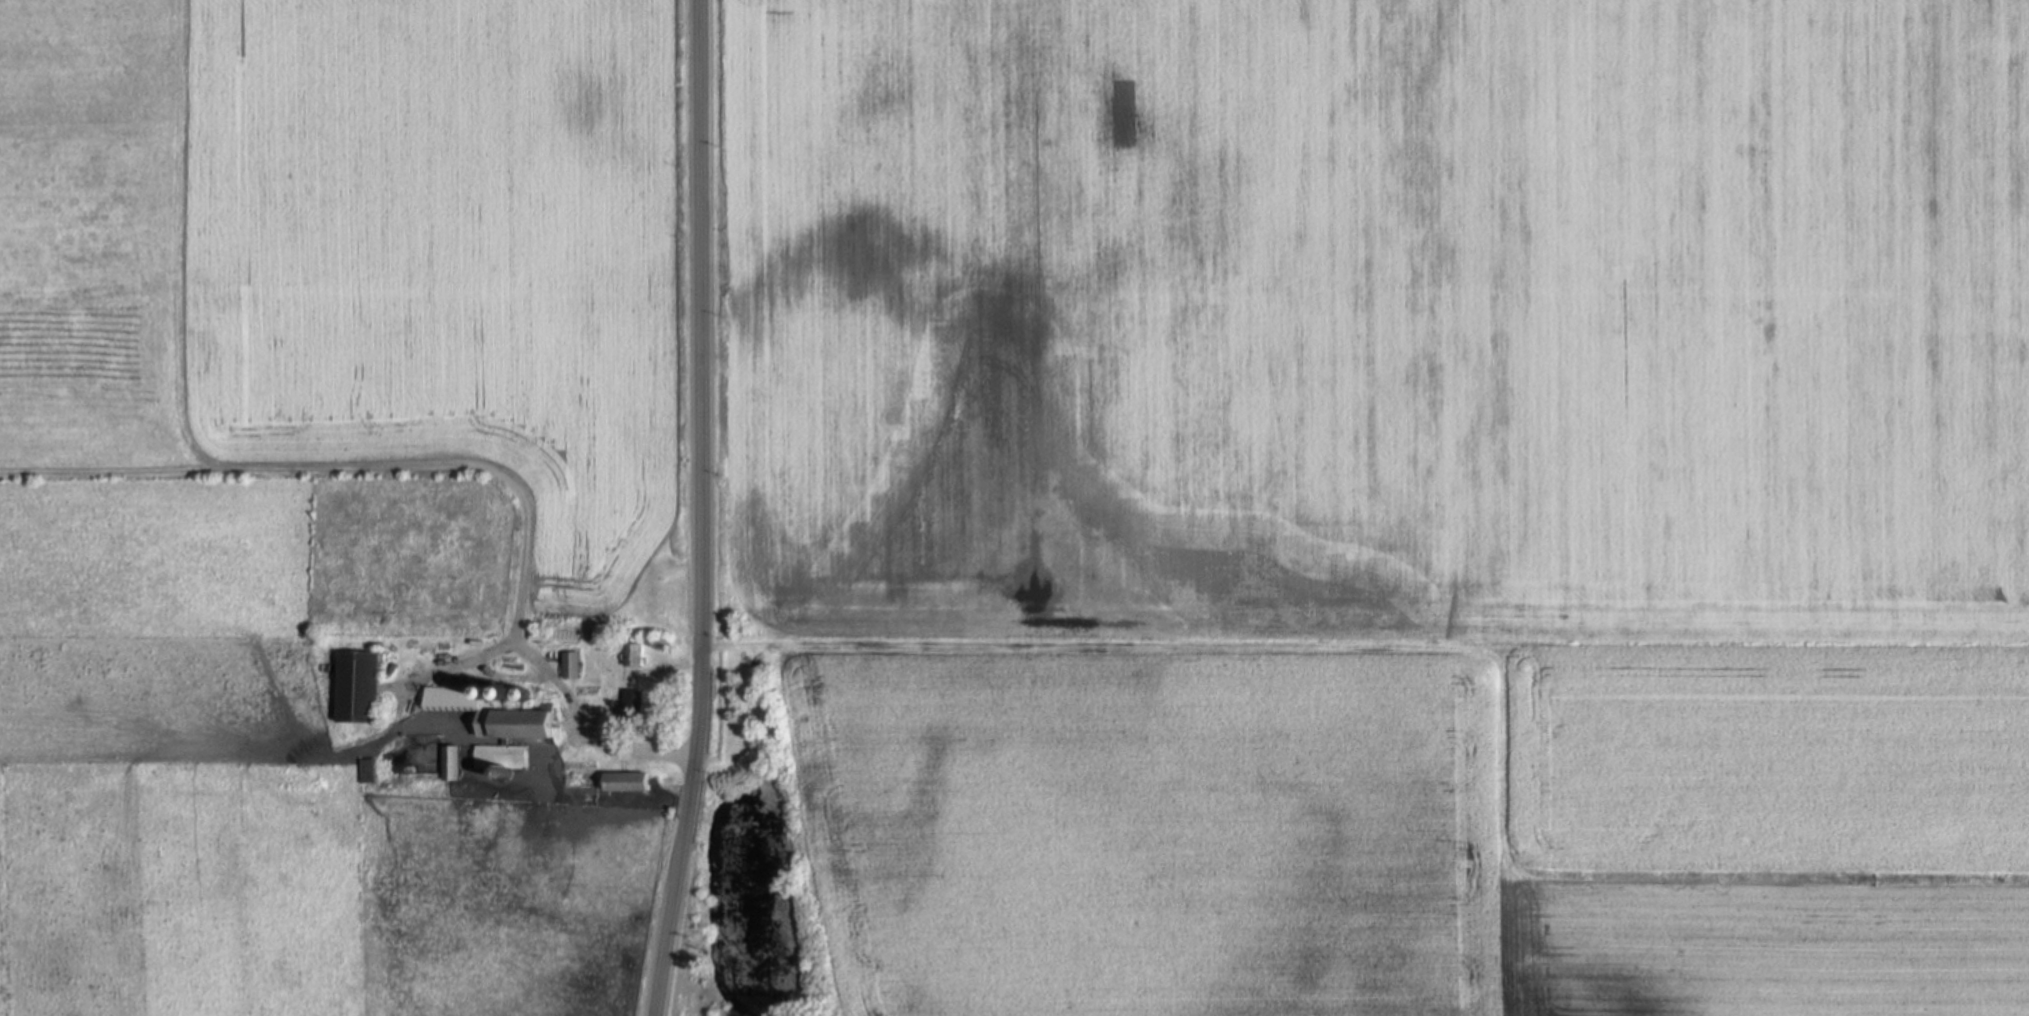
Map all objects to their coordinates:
road: (470, 467)
road: (700, 509)
road: (1078, 645)
building: (633, 654)
building: (571, 665)
road: (415, 682)
building: (357, 686)
building: (634, 704)
building: (495, 713)
road: (614, 747)
building: (500, 757)
building: (452, 764)
building: (366, 770)
building: (581, 770)
building: (627, 783)

